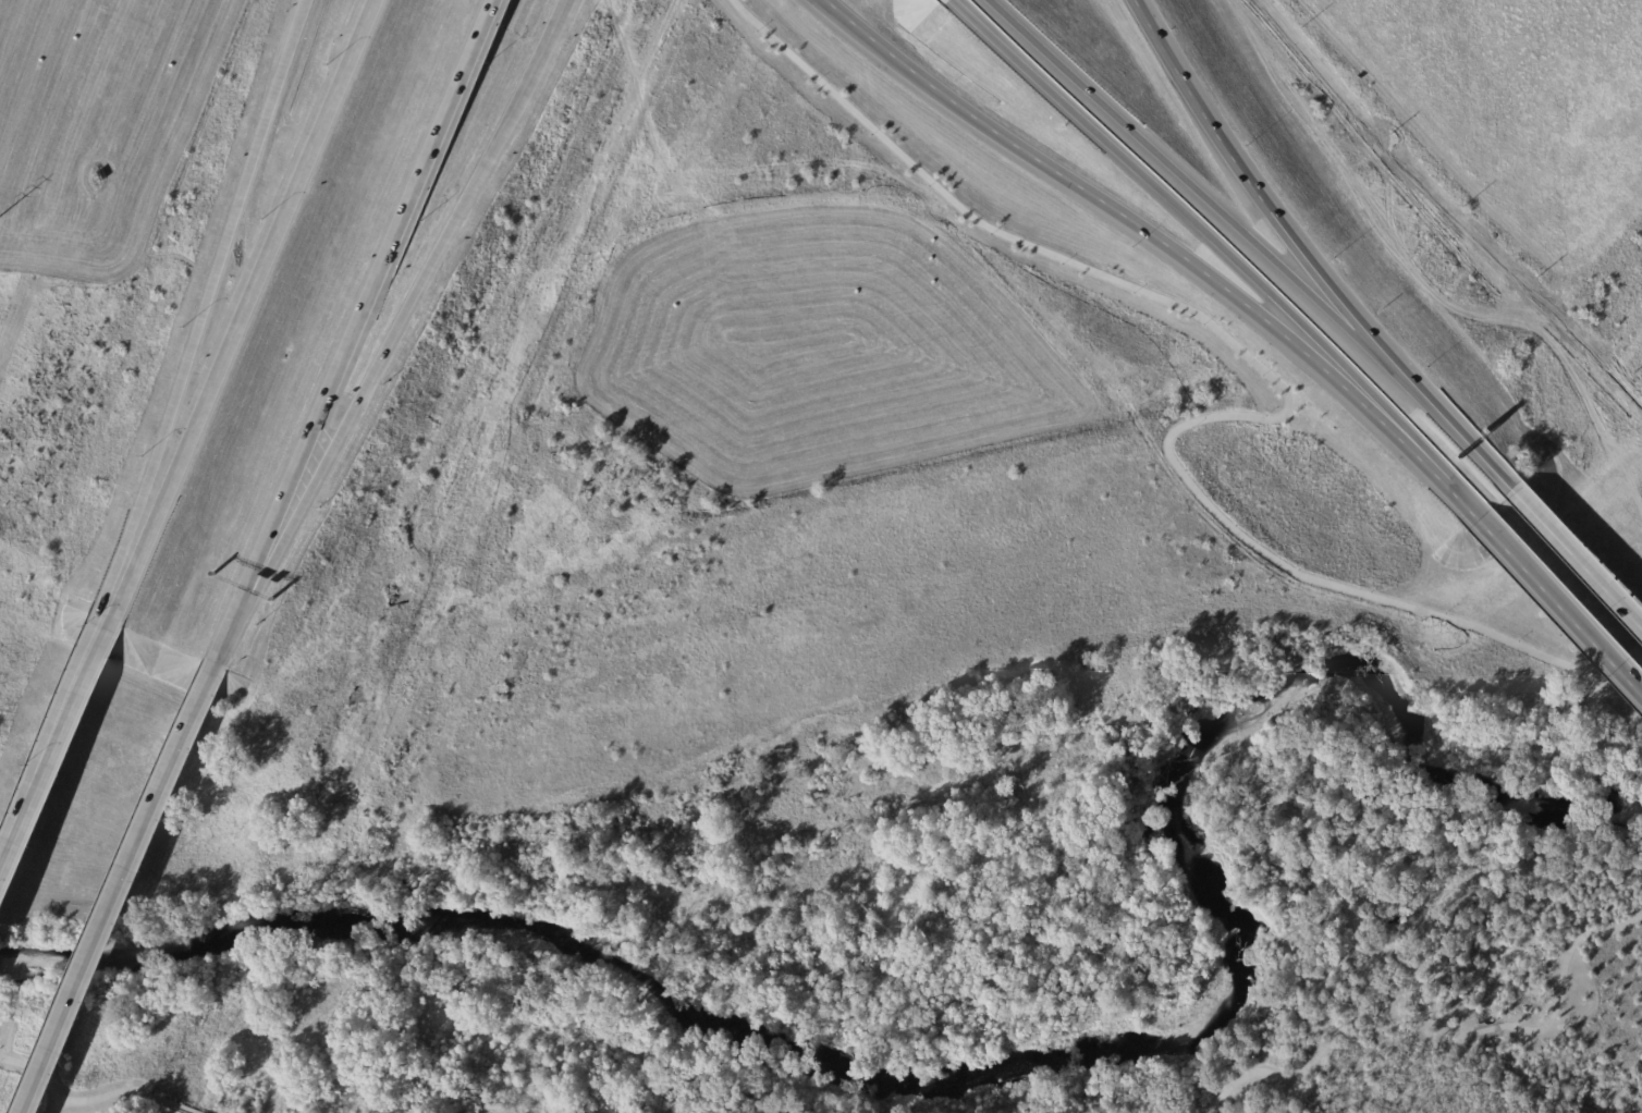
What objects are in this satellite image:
road: (544, 53)
road: (896, 59)
road: (1176, 172)
road: (1243, 175)
road: (1173, 203)
road: (234, 256)
road: (1183, 258)
road: (368, 318)
road: (237, 320)
road: (1269, 370)
road: (377, 371)
road: (1438, 416)
road: (1430, 470)
road: (1576, 560)
road: (1559, 610)
road: (224, 655)
road: (49, 765)
road: (1297, 816)
road: (125, 893)
park: (1426, 900)
road: (1343, 905)
road: (1353, 934)
road: (1394, 1004)
road: (7, 1035)
river: (1002, 1064)
road: (41, 1072)
road: (126, 1090)
road: (1217, 1103)

